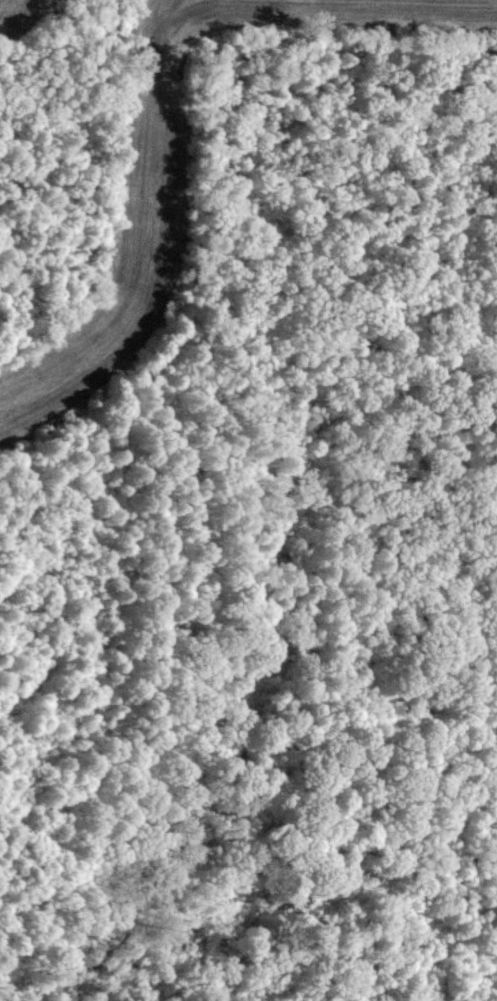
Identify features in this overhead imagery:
road: (402, 837)

